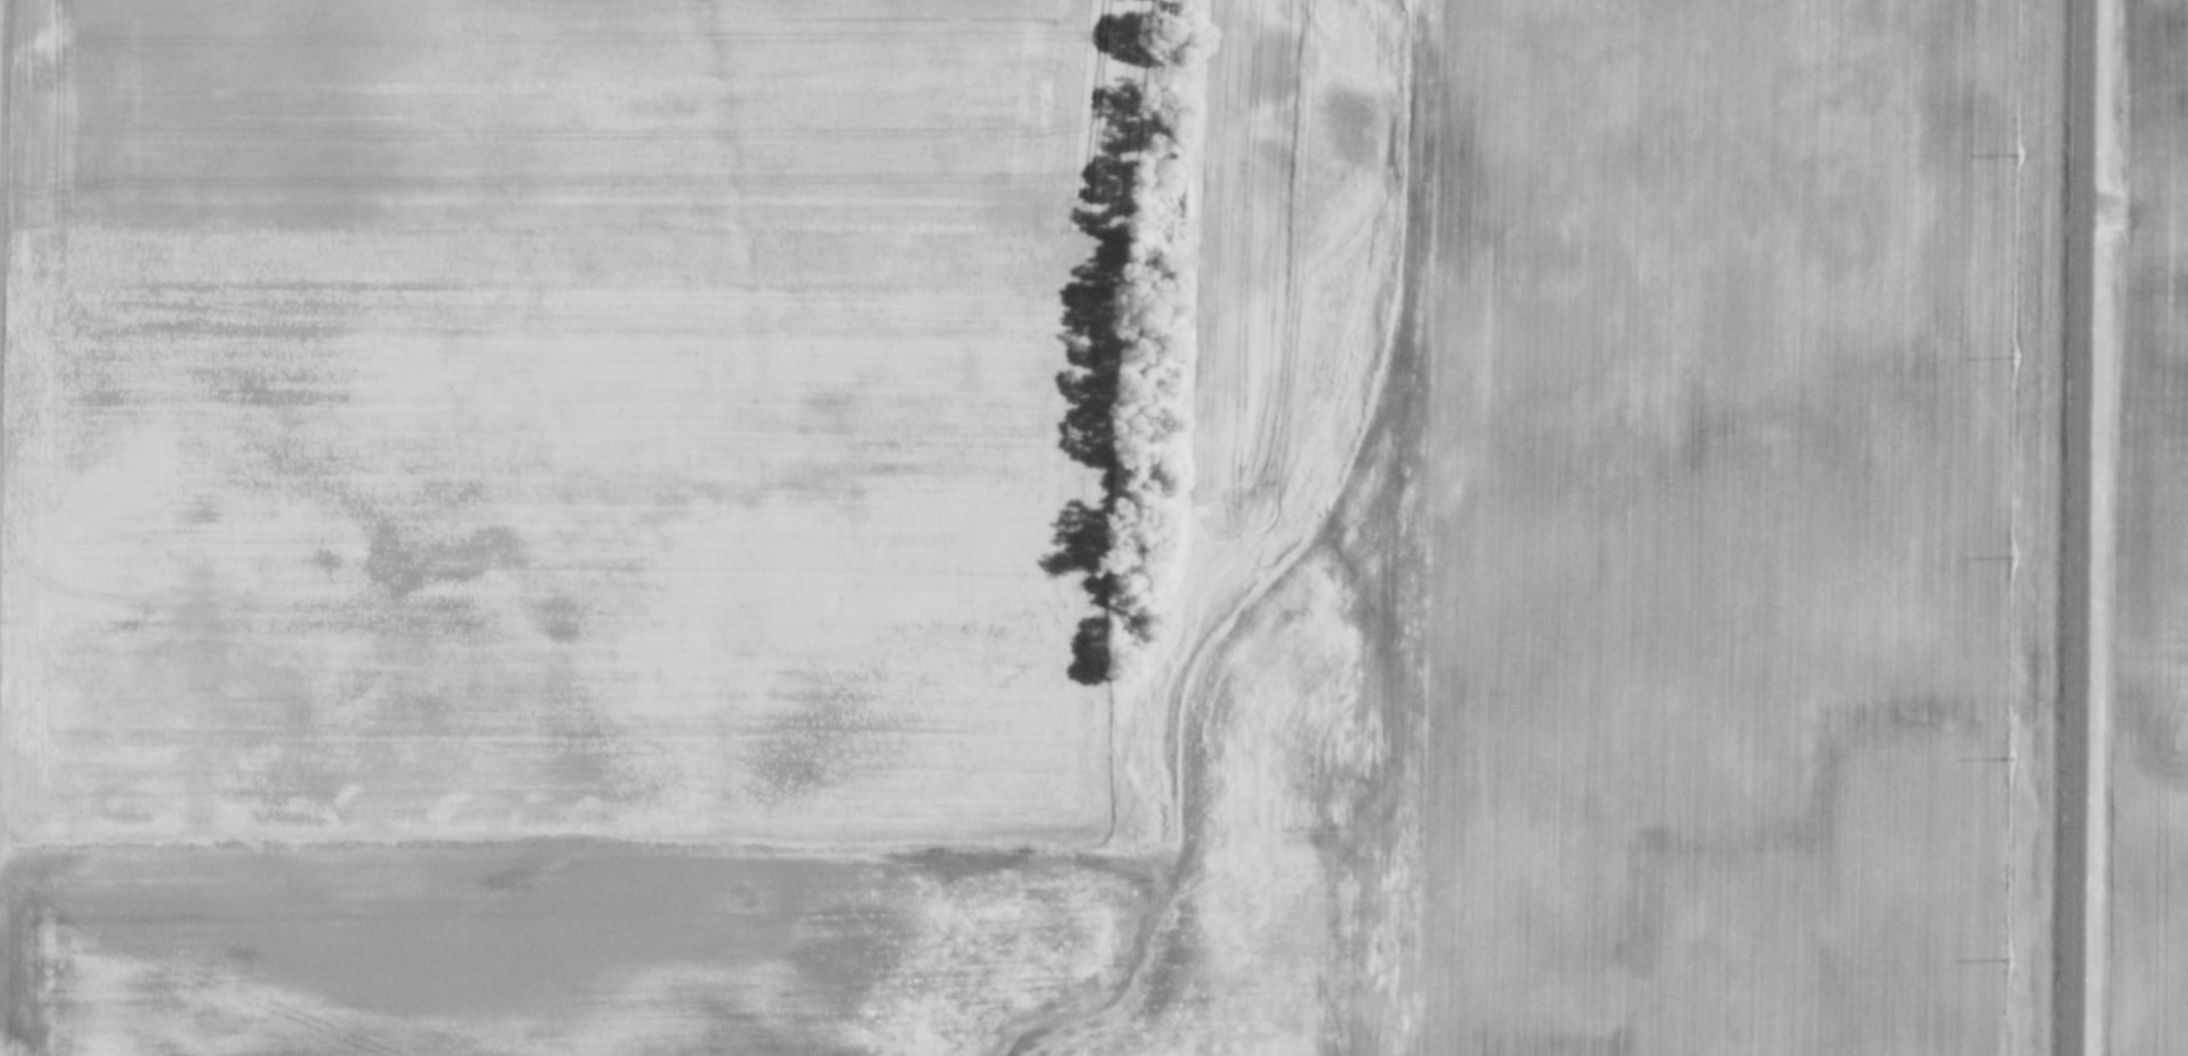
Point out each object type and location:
road: (2084, 527)

